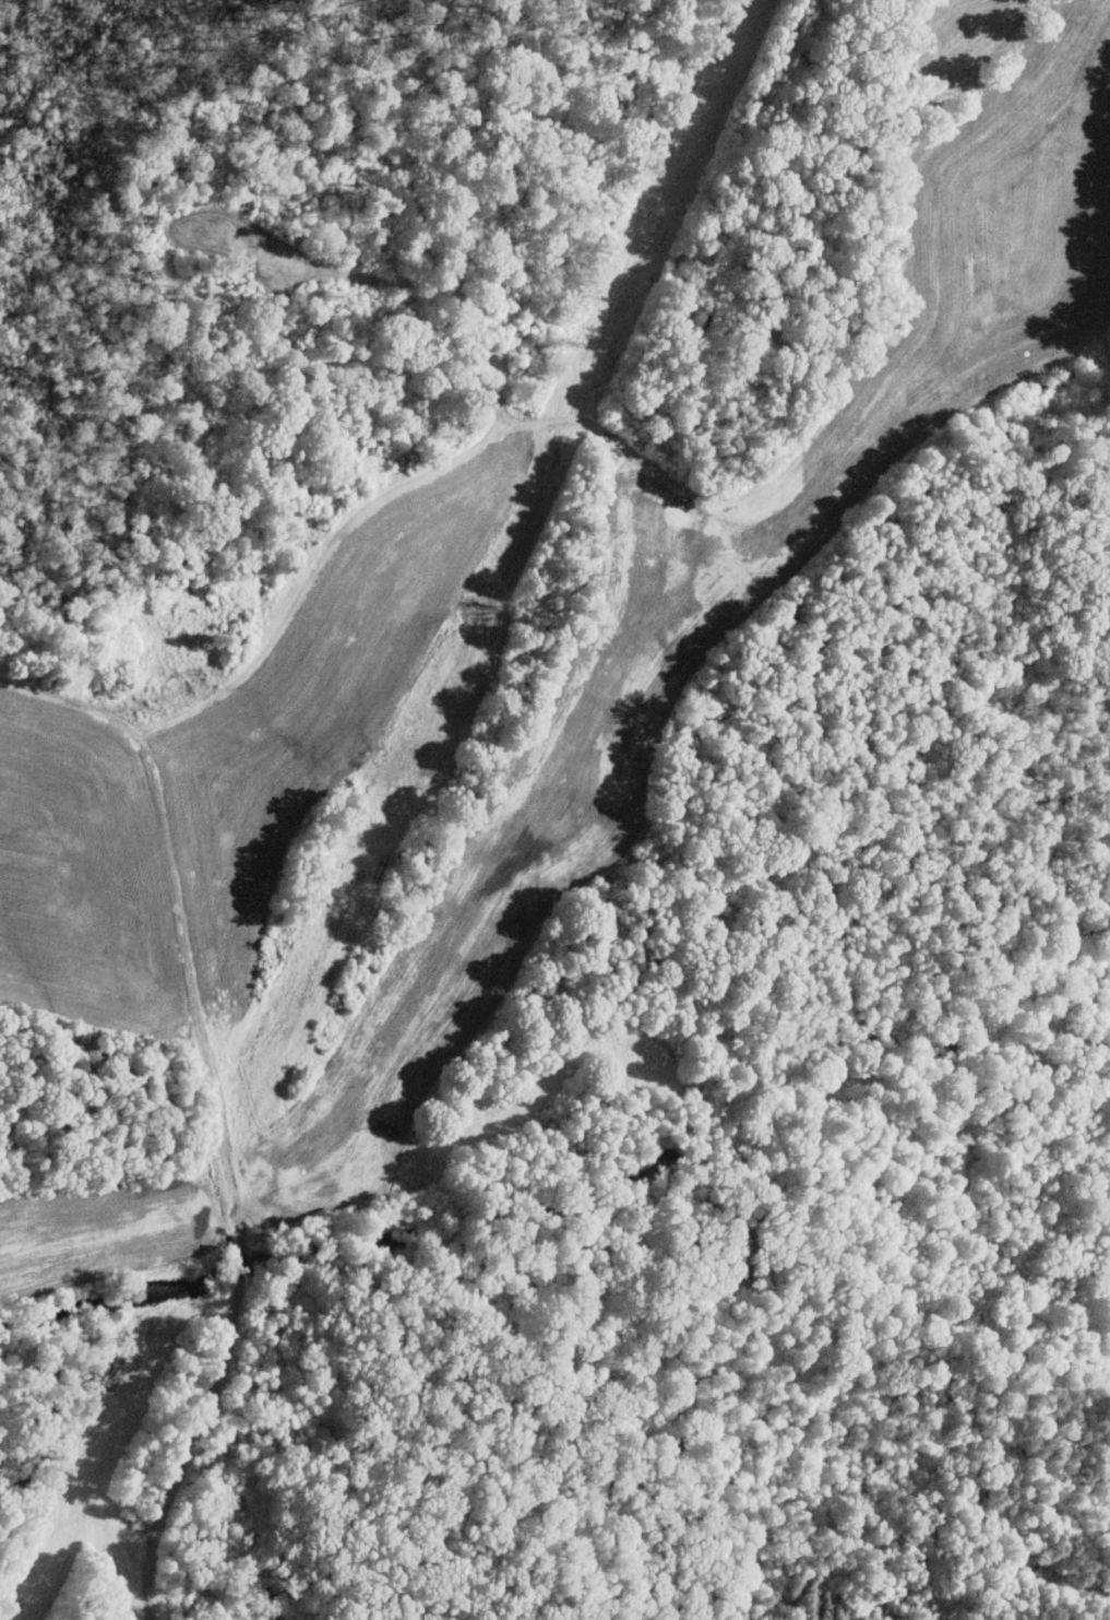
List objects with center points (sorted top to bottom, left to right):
road: (95, 1064)

